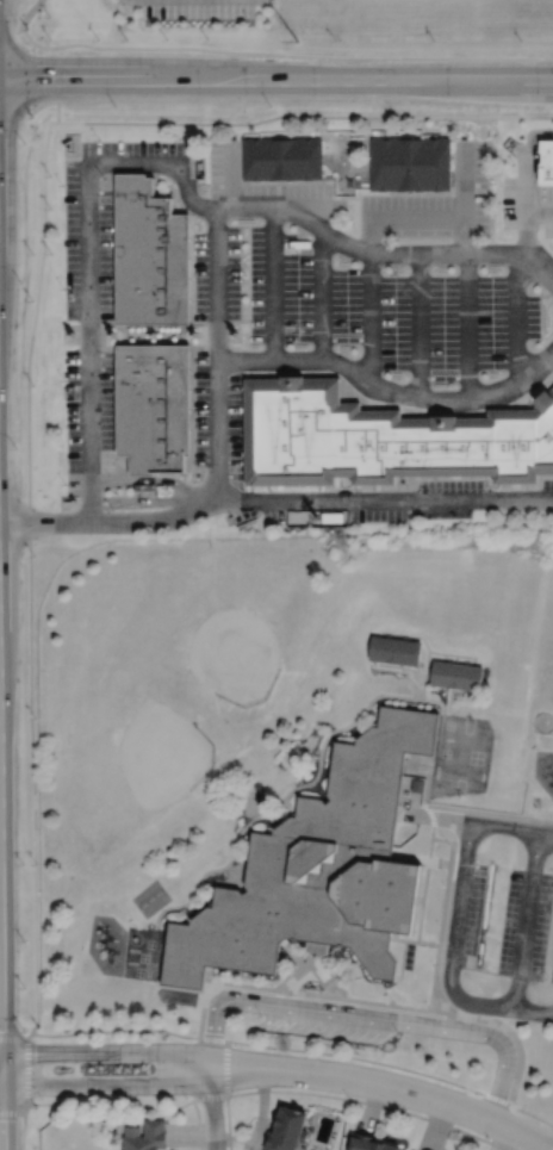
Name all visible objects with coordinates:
road: (29, 12)
park: (292, 29)
road: (11, 32)
road: (26, 35)
power tower: (297, 41)
road: (292, 54)
road: (276, 80)
road: (30, 98)
road: (304, 116)
building: (281, 157)
road: (526, 160)
building: (411, 162)
building: (546, 162)
road: (232, 175)
parking lot: (259, 185)
road: (462, 198)
parking lot: (436, 201)
parking lot: (524, 203)
road: (313, 207)
road: (539, 211)
road: (397, 215)
road: (526, 232)
road: (383, 254)
building: (151, 255)
road: (87, 266)
road: (218, 284)
road: (274, 284)
parking lot: (97, 292)
road: (322, 294)
road: (33, 317)
road: (516, 317)
road: (371, 319)
road: (420, 325)
road: (467, 325)
parking lot: (347, 331)
road: (220, 360)
building: (154, 406)
building: (383, 437)
road: (153, 479)
building: (144, 489)
road: (237, 498)
road: (151, 499)
road: (408, 499)
parking lot: (393, 501)
building: (304, 517)
park: (228, 617)
road: (389, 634)
road: (405, 636)
road: (412, 636)
road: (425, 641)
building: (394, 648)
road: (454, 653)
road: (445, 655)
road: (451, 659)
road: (390, 661)
road: (466, 661)
road: (377, 664)
building: (456, 673)
road: (412, 680)
road: (455, 686)
road: (448, 698)
road: (371, 715)
park: (124, 754)
park: (460, 754)
road: (428, 773)
road: (33, 781)
building: (418, 783)
road: (292, 788)
road: (528, 796)
road: (288, 806)
road: (480, 812)
road: (436, 814)
road: (539, 819)
road: (433, 821)
road: (511, 825)
road: (443, 839)
road: (414, 857)
road: (447, 862)
building: (319, 868)
road: (424, 889)
road: (204, 896)
road: (421, 899)
road: (445, 912)
road: (526, 919)
parking lot: (505, 921)
road: (455, 935)
road: (414, 940)
road: (296, 957)
road: (403, 959)
road: (315, 963)
road: (299, 980)
road: (324, 982)
road: (243, 983)
road: (179, 987)
road: (310, 993)
road: (434, 996)
road: (203, 1000)
road: (445, 1001)
road: (384, 1002)
road: (530, 1011)
road: (446, 1012)
road: (368, 1015)
parking lot: (330, 1024)
road: (13, 1037)
road: (517, 1039)
road: (271, 1044)
road: (107, 1050)
road: (225, 1067)
road: (27, 1070)
road: (106, 1083)
road: (387, 1084)
road: (210, 1095)
road: (112, 1102)
road: (371, 1102)
road: (212, 1108)
road: (12, 1112)
road: (532, 1113)
road: (228, 1121)
road: (198, 1123)
road: (23, 1126)
road: (0, 1130)
building: (287, 1130)
building: (147, 1136)
building: (367, 1143)
road: (552, 1149)

